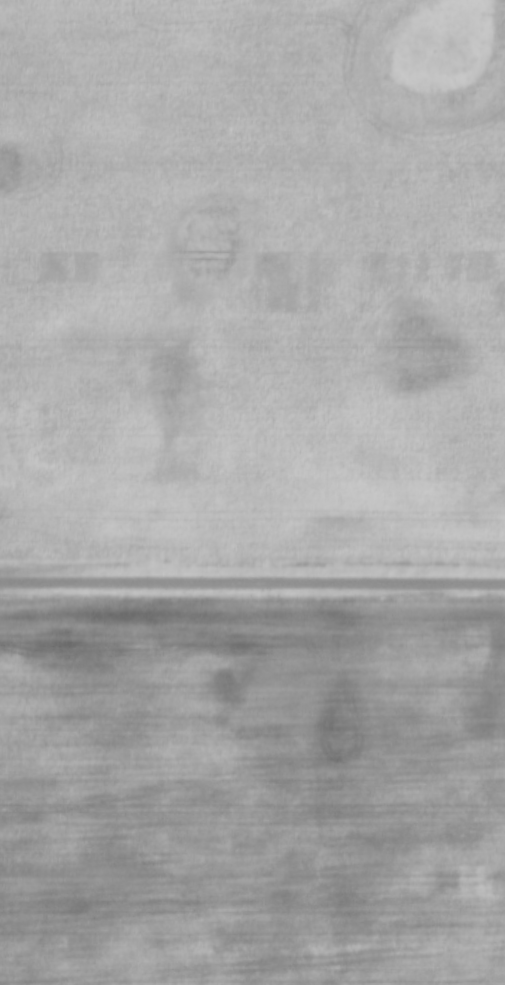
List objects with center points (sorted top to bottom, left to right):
road: (252, 586)

